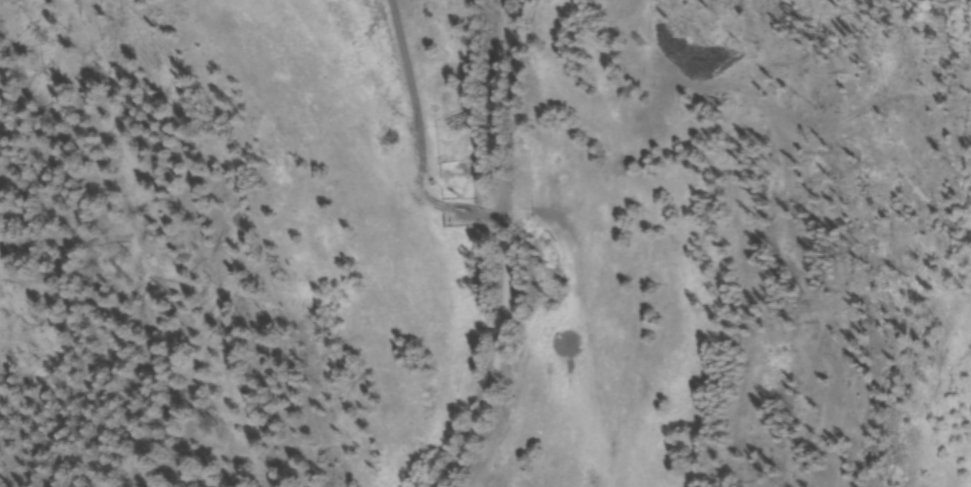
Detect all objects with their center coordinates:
road: (506, 248)

